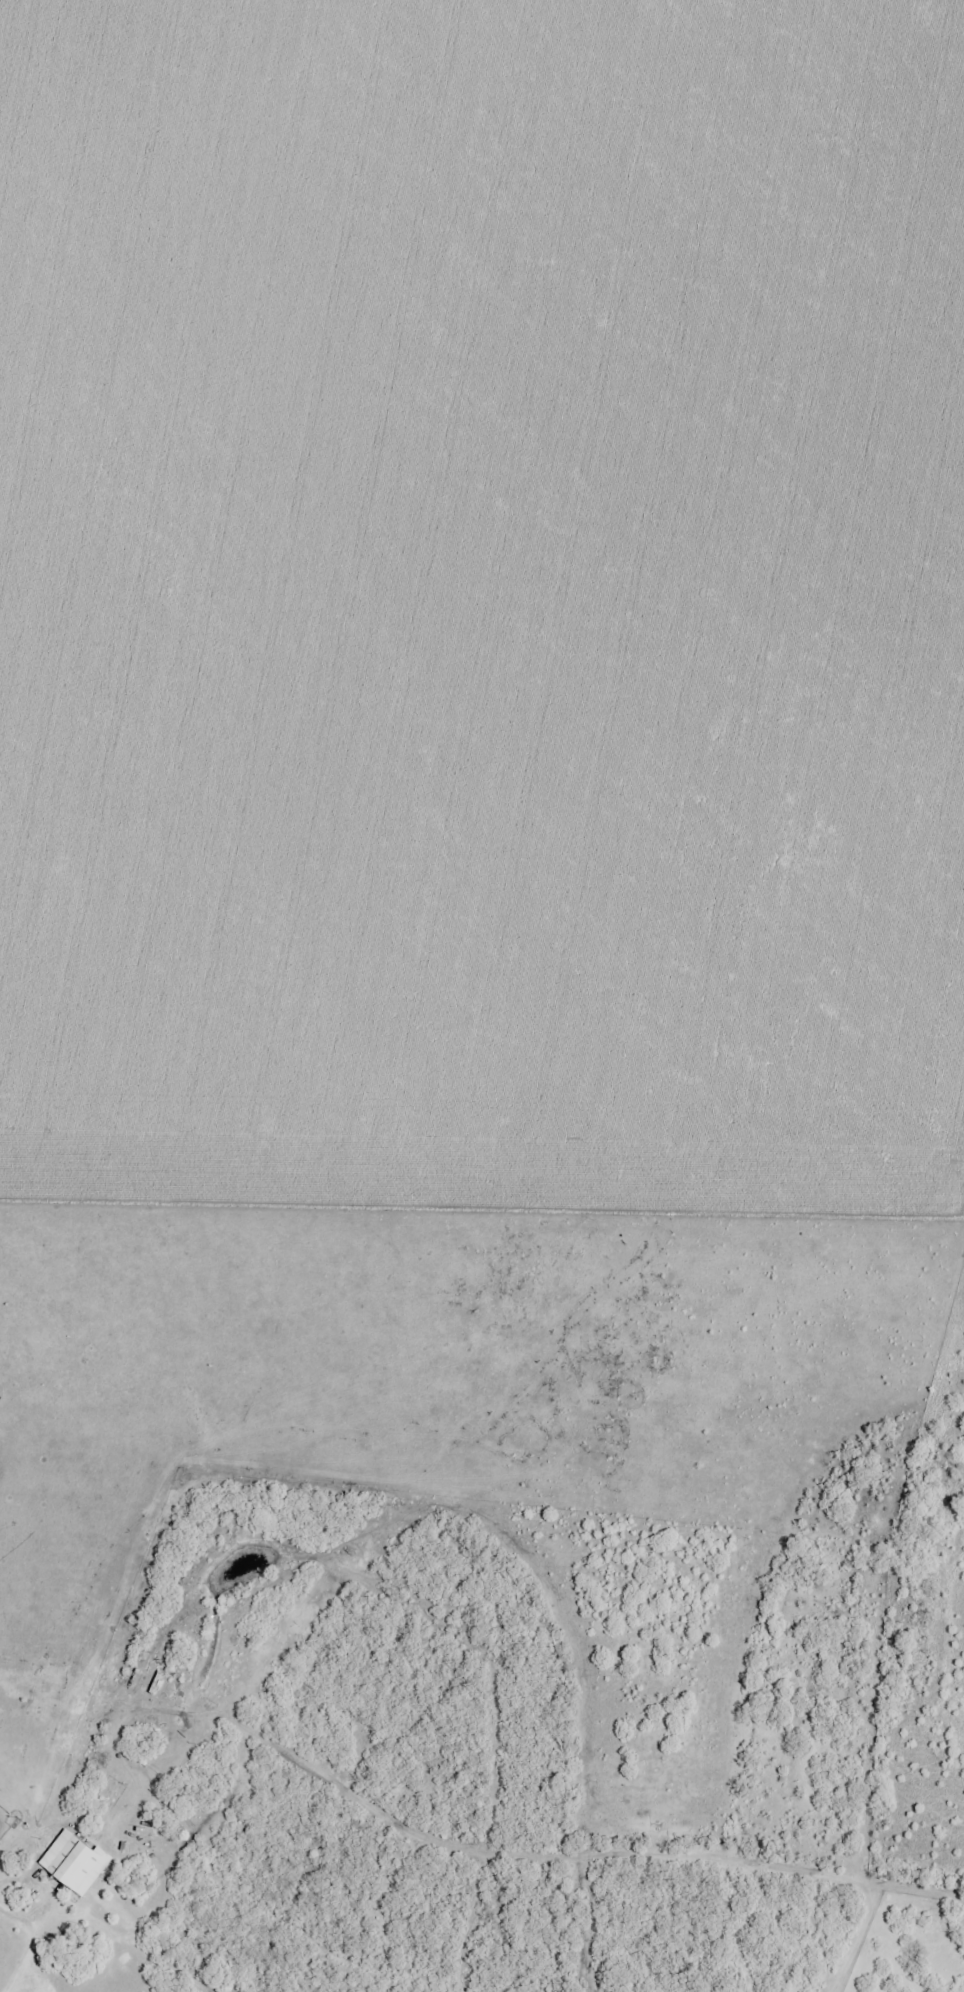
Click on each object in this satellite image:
building: (65, 1864)

